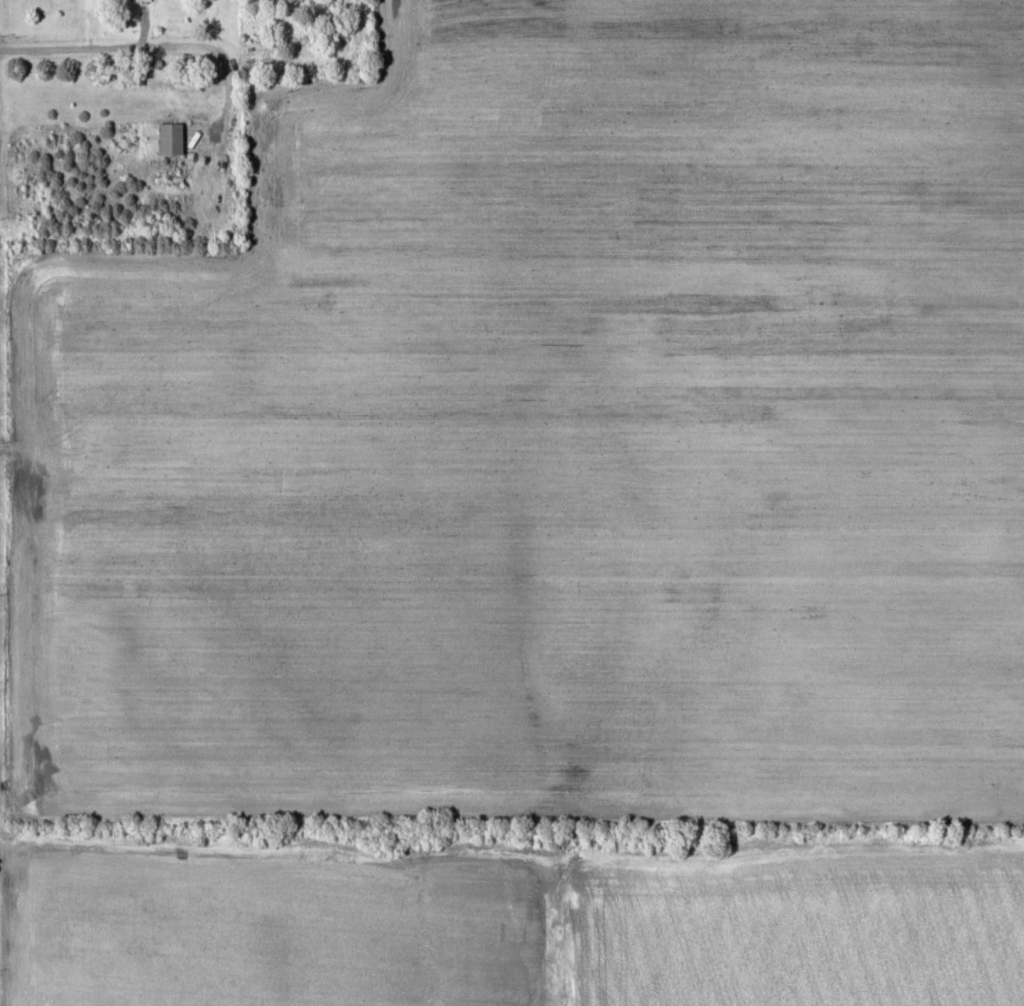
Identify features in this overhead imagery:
building: (176, 138)

